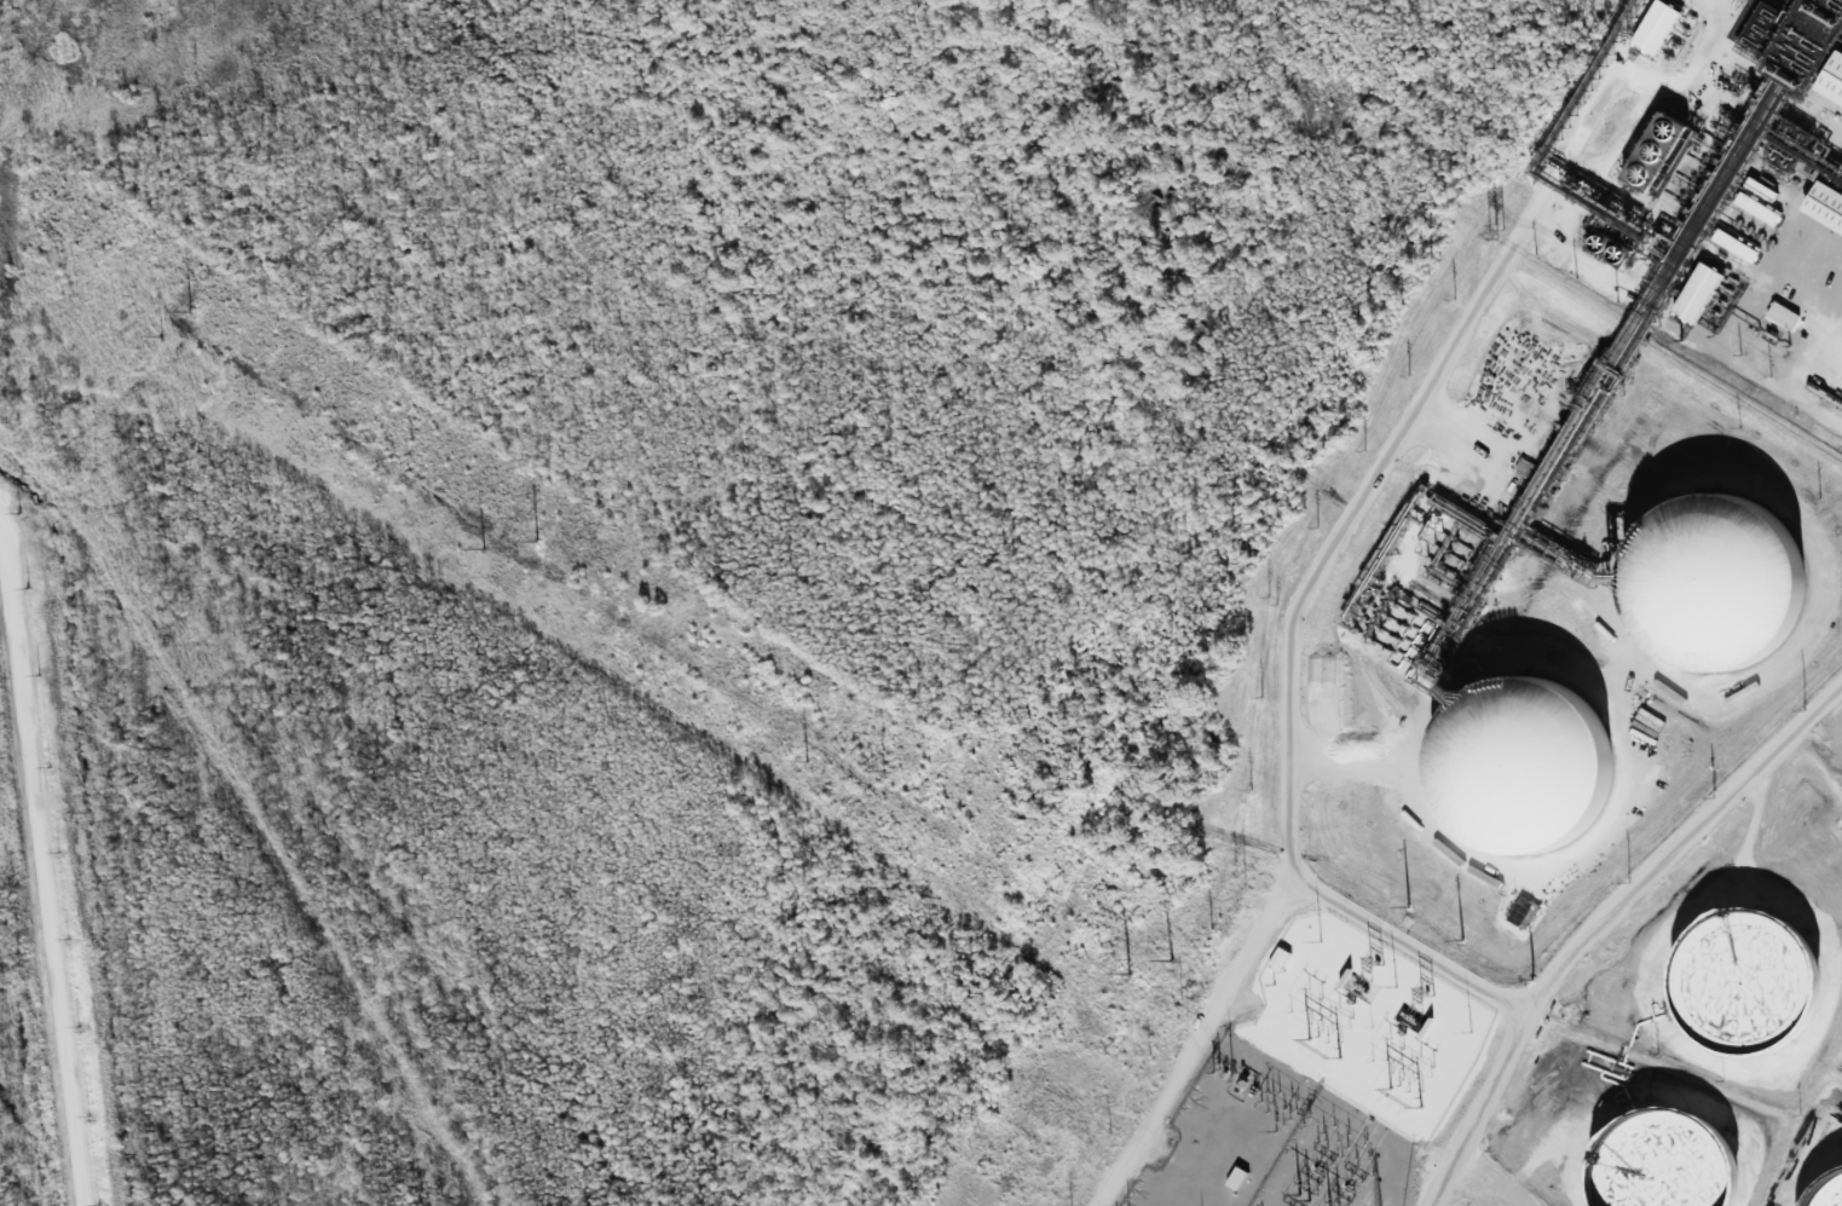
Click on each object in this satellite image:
building: (1796, 39)
building: (1832, 86)
building: (1658, 155)
building: (1825, 212)
building: (1733, 247)
building: (1696, 296)
building: (1719, 589)
storage tank: (1719, 589)
building: (1525, 774)
storage tank: (1525, 774)
road: (40, 877)
building: (1278, 959)
building: (1744, 982)
storage tank: (1744, 982)
power substation: (1271, 1142)
building: (1669, 1164)
storage tank: (1669, 1164)
building: (1829, 1193)
storage tank: (1829, 1193)

